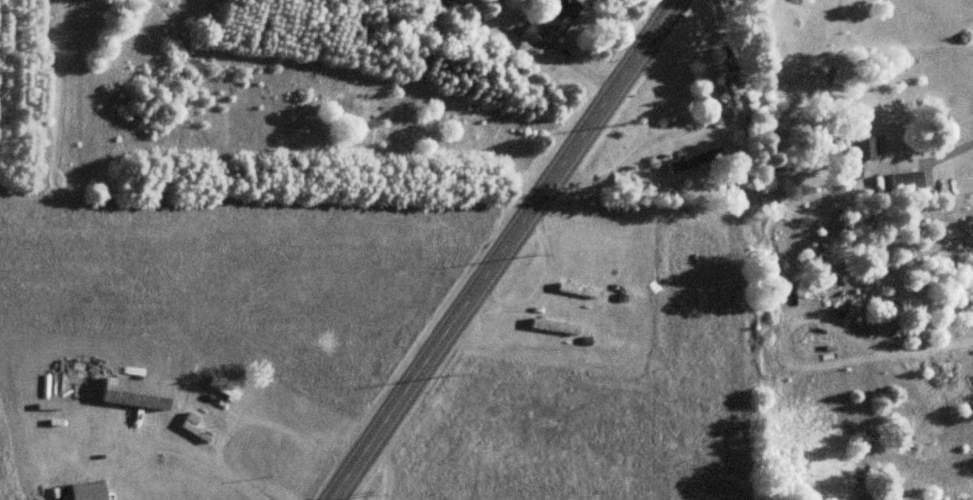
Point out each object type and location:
building: (451, 2)
building: (562, 16)
building: (533, 35)
building: (800, 77)
building: (867, 148)
building: (694, 160)
building: (907, 182)
road: (505, 250)
building: (578, 290)
building: (555, 326)
building: (224, 388)
building: (137, 394)
building: (196, 428)
building: (88, 491)

